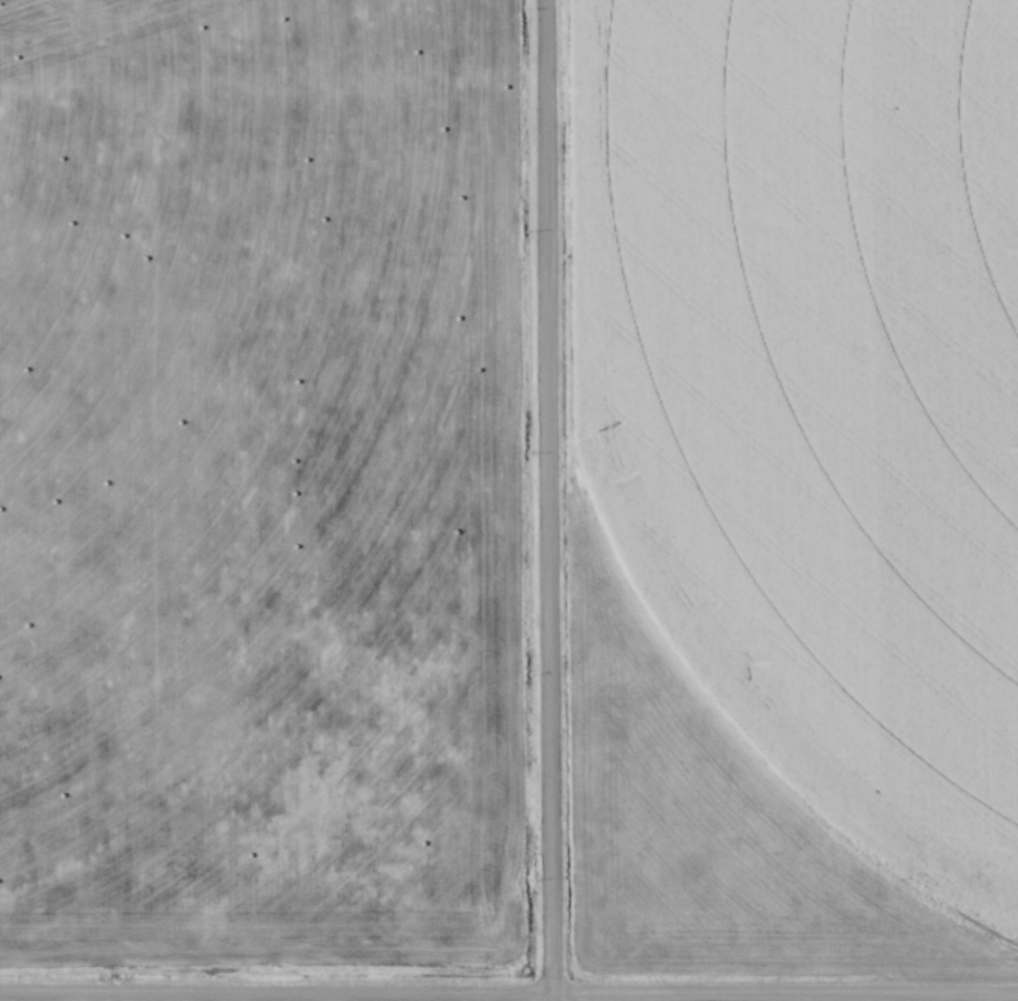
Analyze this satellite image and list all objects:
road: (546, 500)
road: (509, 993)

